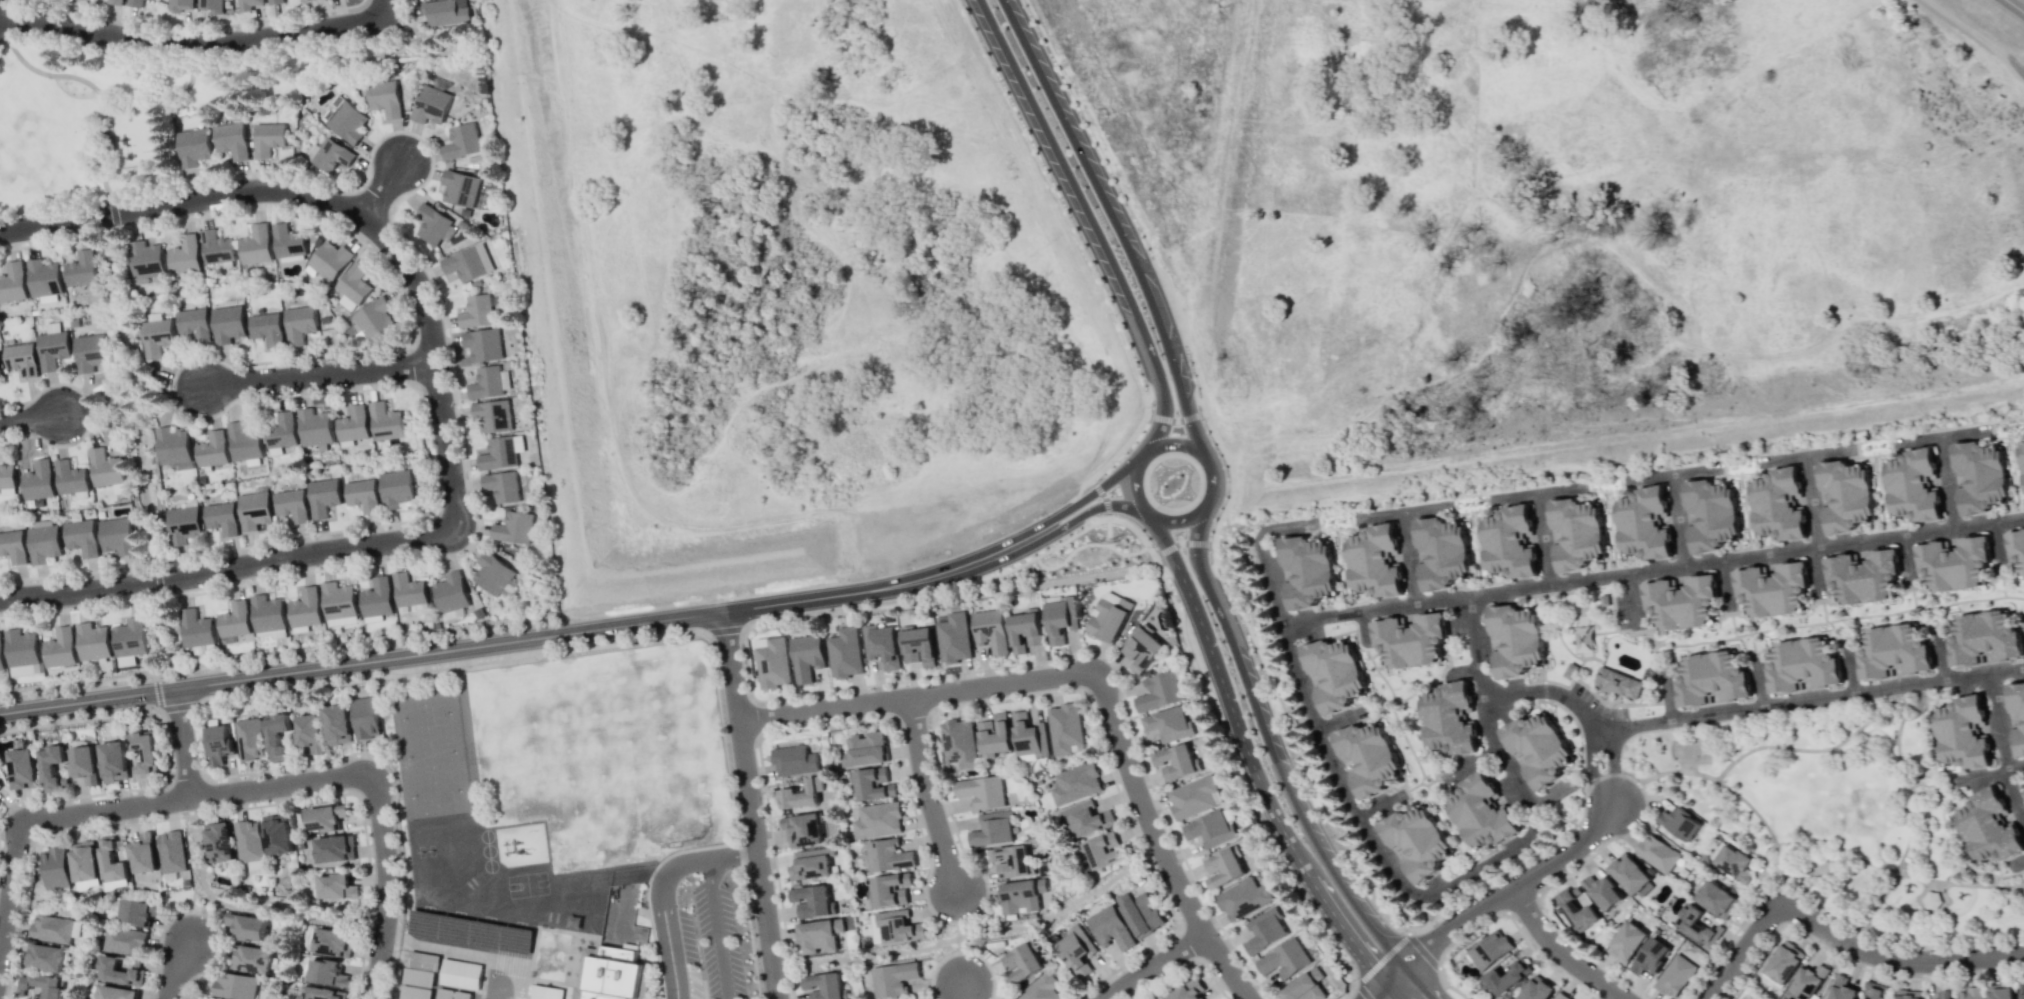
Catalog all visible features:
building: (87, 0)
building: (153, 0)
building: (305, 0)
building: (115, 2)
building: (275, 2)
building: (135, 3)
building: (248, 4)
building: (180, 5)
building: (211, 5)
road: (2013, 8)
road: (379, 9)
building: (445, 12)
road: (187, 44)
street lamp: (1000, 80)
road: (97, 90)
building: (384, 98)
road: (161, 102)
building: (430, 105)
park: (149, 109)
street lamp: (1079, 113)
building: (347, 121)
building: (268, 139)
building: (231, 140)
building: (461, 141)
street lamp: (427, 143)
building: (193, 147)
building: (333, 155)
building: (459, 188)
road: (379, 190)
street lamp: (1059, 197)
road: (54, 205)
road: (346, 209)
road: (111, 212)
road: (1089, 218)
road: (1112, 218)
street lamp: (327, 219)
building: (432, 224)
street lamp: (1138, 229)
building: (287, 241)
building: (255, 245)
building: (217, 248)
building: (184, 254)
building: (329, 260)
building: (146, 261)
building: (464, 264)
building: (81, 269)
building: (44, 280)
building: (13, 282)
building: (353, 286)
road: (124, 307)
building: (476, 312)
street lamp: (1115, 313)
building: (374, 318)
building: (193, 324)
building: (227, 324)
building: (299, 324)
building: (267, 328)
building: (156, 335)
building: (483, 342)
building: (52, 347)
building: (90, 352)
building: (20, 358)
building: (0, 371)
building: (0, 374)
road: (318, 374)
building: (485, 380)
street lamp: (365, 387)
road: (125, 389)
road: (174, 389)
park: (131, 397)
street lamp: (1151, 405)
road: (90, 410)
street lamp: (224, 411)
building: (493, 416)
road: (29, 418)
street lamp: (1203, 420)
building: (385, 422)
building: (352, 424)
building: (314, 427)
building: (280, 433)
road: (1940, 435)
building: (242, 442)
road: (1157, 445)
street lamp: (49, 446)
building: (211, 447)
building: (172, 448)
building: (499, 453)
road: (1807, 454)
street lamp: (1118, 459)
building: (2022, 460)
building: (105, 467)
building: (6, 479)
building: (70, 479)
building: (37, 481)
road: (1946, 481)
building: (1981, 481)
street lamp: (1226, 483)
building: (501, 486)
building: (395, 488)
building: (1915, 490)
road: (148, 491)
road: (1090, 492)
building: (362, 495)
building: (322, 497)
building: (1848, 499)
road: (1811, 500)
building: (291, 505)
road: (1094, 507)
building: (1781, 508)
building: (253, 510)
building: (1709, 511)
street lamp: (1098, 513)
street lamp: (1039, 515)
building: (220, 517)
road: (1677, 519)
building: (182, 524)
building: (1648, 526)
building: (514, 528)
street lamp: (348, 530)
building: (116, 536)
building: (1582, 536)
building: (81, 537)
road: (1542, 538)
building: (1511, 541)
building: (43, 542)
road: (1165, 543)
street lamp: (1153, 545)
building: (13, 546)
building: (2019, 548)
road: (1260, 550)
building: (1442, 551)
street lamp: (1208, 552)
street lamp: (455, 554)
road: (1408, 557)
building: (1375, 561)
street lamp: (1010, 564)
building: (1959, 566)
street lamp: (1103, 568)
building: (1305, 568)
road: (225, 569)
road: (1652, 569)
building: (494, 575)
building: (1865, 579)
road: (157, 581)
street lamp: (246, 581)
road: (890, 585)
building: (407, 588)
building: (450, 590)
building: (1772, 591)
building: (376, 600)
road: (1633, 600)
building: (338, 604)
building: (1679, 604)
building: (305, 610)
building: (268, 617)
building: (1109, 617)
building: (1060, 619)
building: (234, 620)
street lamp: (1248, 620)
street lamp: (509, 625)
building: (196, 629)
building: (991, 630)
building: (1025, 630)
park: (164, 635)
building: (131, 638)
building: (953, 638)
building: (1416, 640)
building: (93, 642)
building: (1987, 642)
building: (1518, 643)
road: (164, 644)
street lamp: (594, 644)
building: (918, 644)
building: (882, 645)
road: (1474, 646)
building: (61, 648)
building: (1142, 648)
road: (448, 649)
building: (23, 653)
building: (845, 653)
building: (1, 656)
building: (1895, 656)
building: (807, 657)
street lamp: (1108, 659)
building: (1570, 669)
building: (1807, 669)
building: (1337, 671)
road: (1094, 677)
building: (1617, 680)
building: (1716, 682)
road: (1548, 690)
building: (1159, 692)
road: (157, 693)
road: (87, 700)
road: (1797, 701)
road: (176, 706)
street lamp: (111, 712)
building: (2017, 713)
park: (424, 715)
park: (425, 715)
building: (365, 718)
building: (337, 724)
building: (1168, 724)
building: (1064, 728)
building: (1443, 729)
building: (309, 732)
building: (1966, 733)
building: (277, 736)
building: (994, 736)
building: (1029, 736)
building: (250, 739)
road: (182, 742)
building: (958, 743)
building: (219, 744)
road: (2003, 747)
building: (867, 748)
building: (1538, 748)
park: (1695, 749)
road: (1810, 749)
building: (144, 750)
road: (1270, 751)
park: (429, 754)
park: (430, 754)
street lamp: (1138, 755)
building: (1372, 759)
building: (793, 760)
building: (113, 761)
building: (1176, 762)
building: (85, 763)
road: (1611, 763)
road: (1592, 765)
building: (54, 766)
road: (1510, 768)
building: (22, 769)
street lamp: (270, 771)
road: (1959, 779)
building: (1075, 783)
building: (872, 784)
road: (1261, 787)
road: (244, 790)
road: (1732, 791)
park: (435, 792)
park: (435, 792)
building: (982, 792)
road: (925, 794)
building: (801, 795)
building: (1193, 797)
building: (0, 800)
road: (749, 805)
street lamp: (181, 814)
building: (1484, 815)
park: (1838, 815)
building: (326, 817)
building: (1086, 819)
building: (876, 820)
road: (1912, 821)
road: (1362, 822)
building: (1679, 823)
building: (1989, 828)
building: (992, 829)
building: (1209, 829)
building: (802, 830)
building: (277, 834)
street lamp: (1332, 836)
building: (247, 841)
building: (219, 842)
building: (1417, 843)
park: (195, 846)
building: (334, 848)
street lamp: (29, 849)
building: (1103, 850)
building: (171, 851)
building: (1657, 853)
building: (143, 854)
street lamp: (1590, 854)
building: (887, 855)
building: (83, 861)
building: (1010, 861)
building: (112, 862)
building: (1735, 863)
building: (809, 865)
building: (55, 868)
building: (1223, 868)
road: (1900, 873)
building: (1630, 874)
park: (527, 884)
building: (335, 887)
road: (661, 889)
building: (890, 889)
road: (1506, 891)
building: (1602, 892)
building: (1021, 896)
building: (1242, 899)
building: (1716, 899)
building: (1935, 900)
building: (812, 901)
road: (254, 903)
building: (1577, 908)
street lamp: (1820, 908)
building: (135, 912)
building: (1140, 913)
road: (198, 918)
street lamp: (1316, 918)
building: (1697, 925)
building: (245, 926)
building: (897, 927)
building: (1110, 928)
building: (51, 929)
road: (716, 929)
park: (971, 929)
building: (1265, 931)
road: (975, 934)
street lamp: (1222, 934)
building: (819, 936)
road: (1840, 939)
building: (124, 941)
parking lot: (717, 941)
building: (331, 942)
building: (1626, 942)
street lamp: (1452, 943)
street lamp: (394, 950)
building: (1489, 950)
building: (1075, 951)
road: (1558, 951)
building: (1650, 956)
building: (46, 958)
street lamp: (1592, 958)
building: (252, 959)
building: (1284, 959)
building: (423, 960)
building: (1021, 962)
street lamp: (1715, 963)
building: (1783, 963)
road: (1152, 964)
road: (173, 969)
building: (119, 972)
building: (326, 973)
building: (460, 973)
building: (612, 974)
building: (1507, 975)
street lamp: (1923, 975)
building: (418, 976)
building: (1675, 976)
building: (893, 979)
road: (1420, 981)
building: (1807, 982)
building: (823, 985)
building: (234, 986)
building: (39, 987)
building: (1305, 987)
road: (1380, 987)
building: (1041, 988)
building: (1841, 988)
building: (1536, 989)
road: (1394, 990)
building: (1875, 990)
building: (2021, 990)
road: (967, 991)
building: (1188, 991)
building: (2000, 991)
building: (414, 992)
building: (546, 992)
building: (116, 993)
building: (321, 993)
building: (444, 993)
building: (1970, 993)
building: (462, 994)
building: (1907, 994)
building: (1943, 994)
building: (1559, 996)

